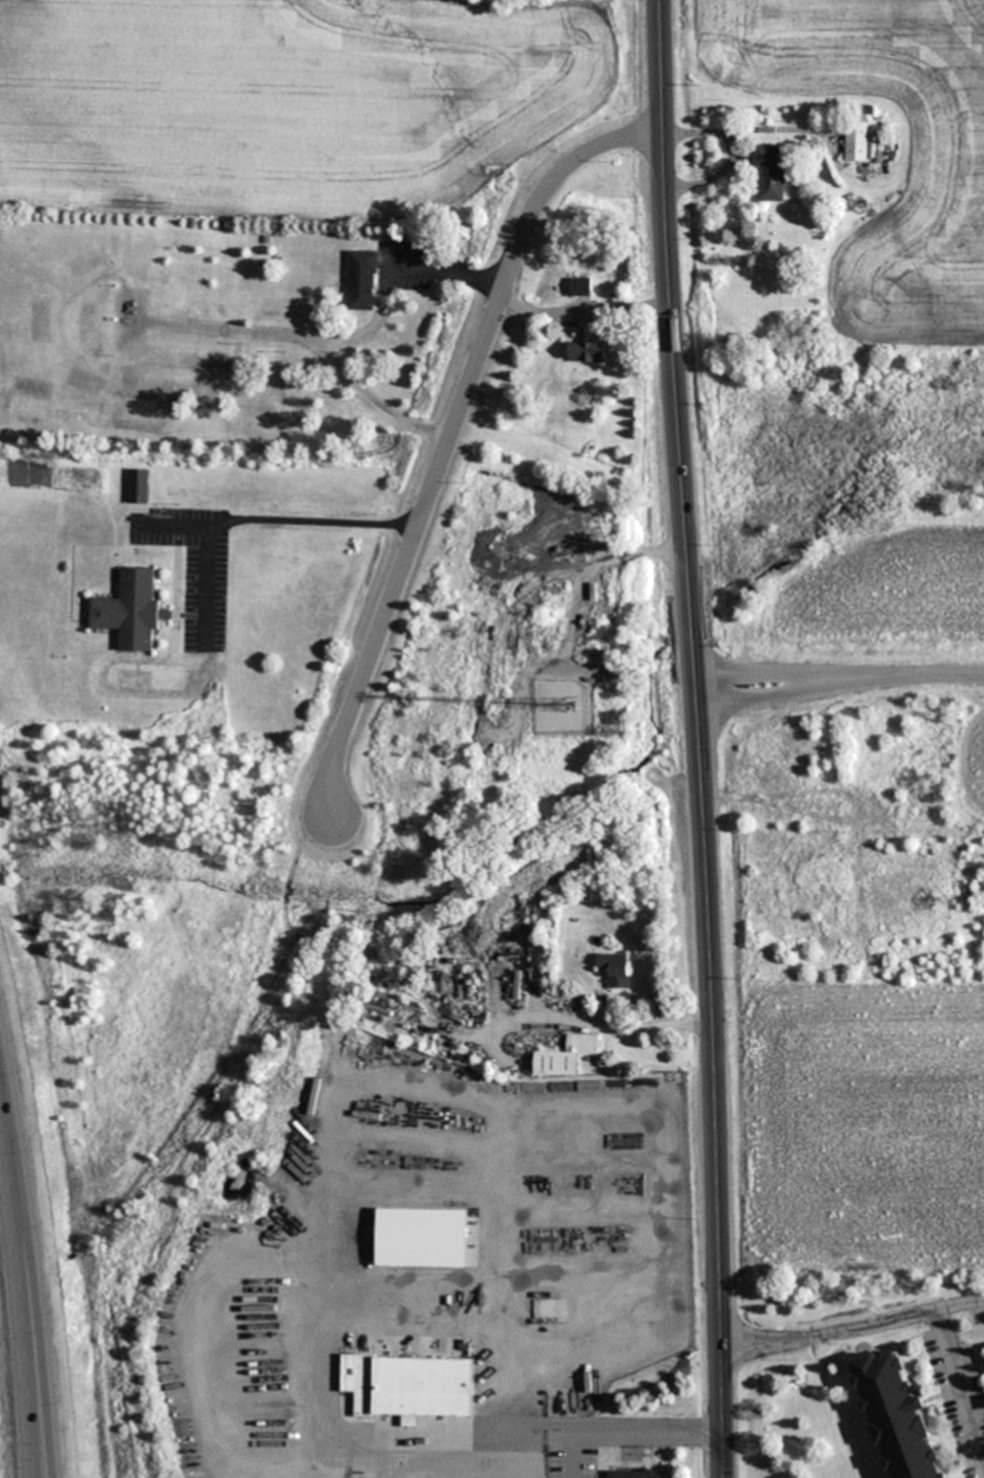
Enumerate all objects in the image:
building: (857, 142)
building: (770, 173)
building: (361, 280)
building: (580, 286)
building: (586, 351)
road: (450, 436)
building: (138, 486)
building: (130, 611)
road: (840, 680)
road: (700, 738)
building: (615, 969)
building: (566, 1056)
building: (422, 1238)
road: (37, 1266)
road: (15, 1283)
building: (543, 1309)
road: (939, 1321)
road: (497, 1326)
road: (854, 1330)
building: (409, 1386)
parking lot: (960, 1395)
road: (963, 1401)
building: (896, 1418)
road: (527, 1435)
road: (571, 1456)
building: (635, 1474)

